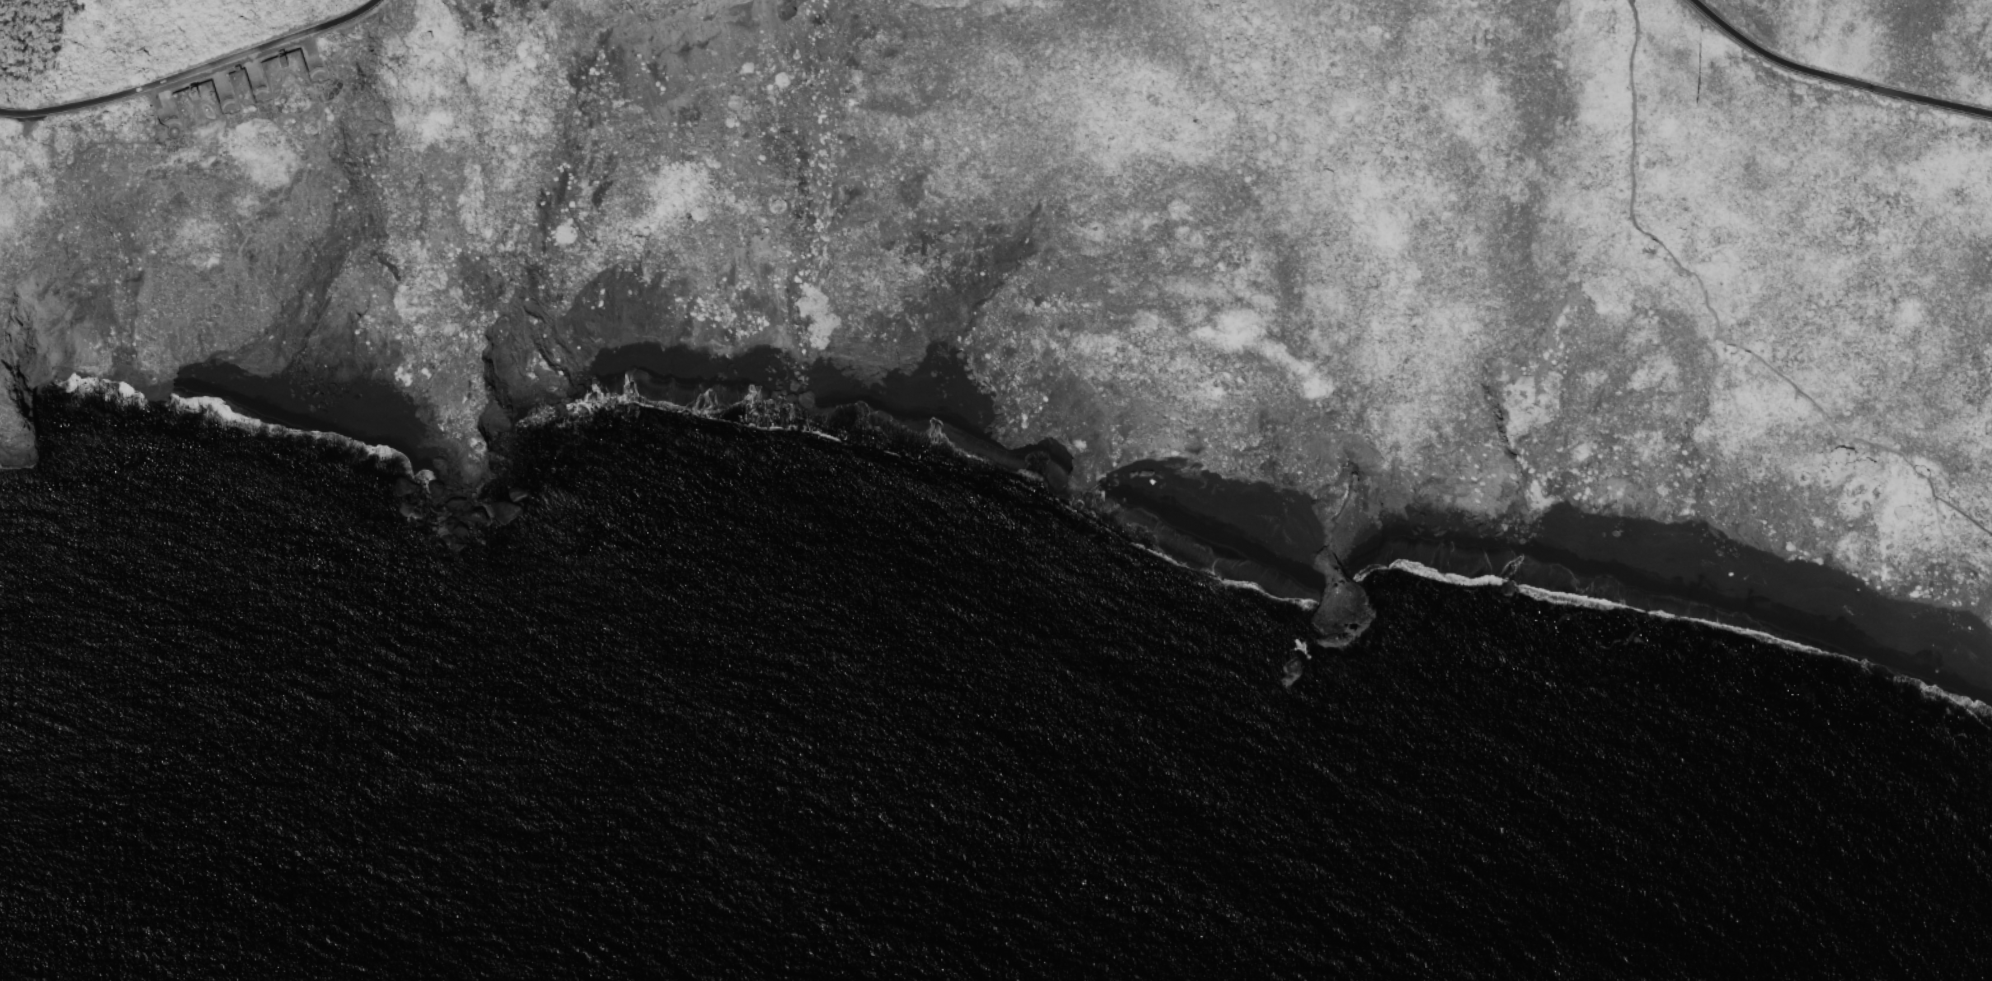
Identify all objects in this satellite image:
parking lot: (1610, 1)
road: (194, 73)
road: (1832, 81)
road: (1827, 83)
road: (1720, 320)

